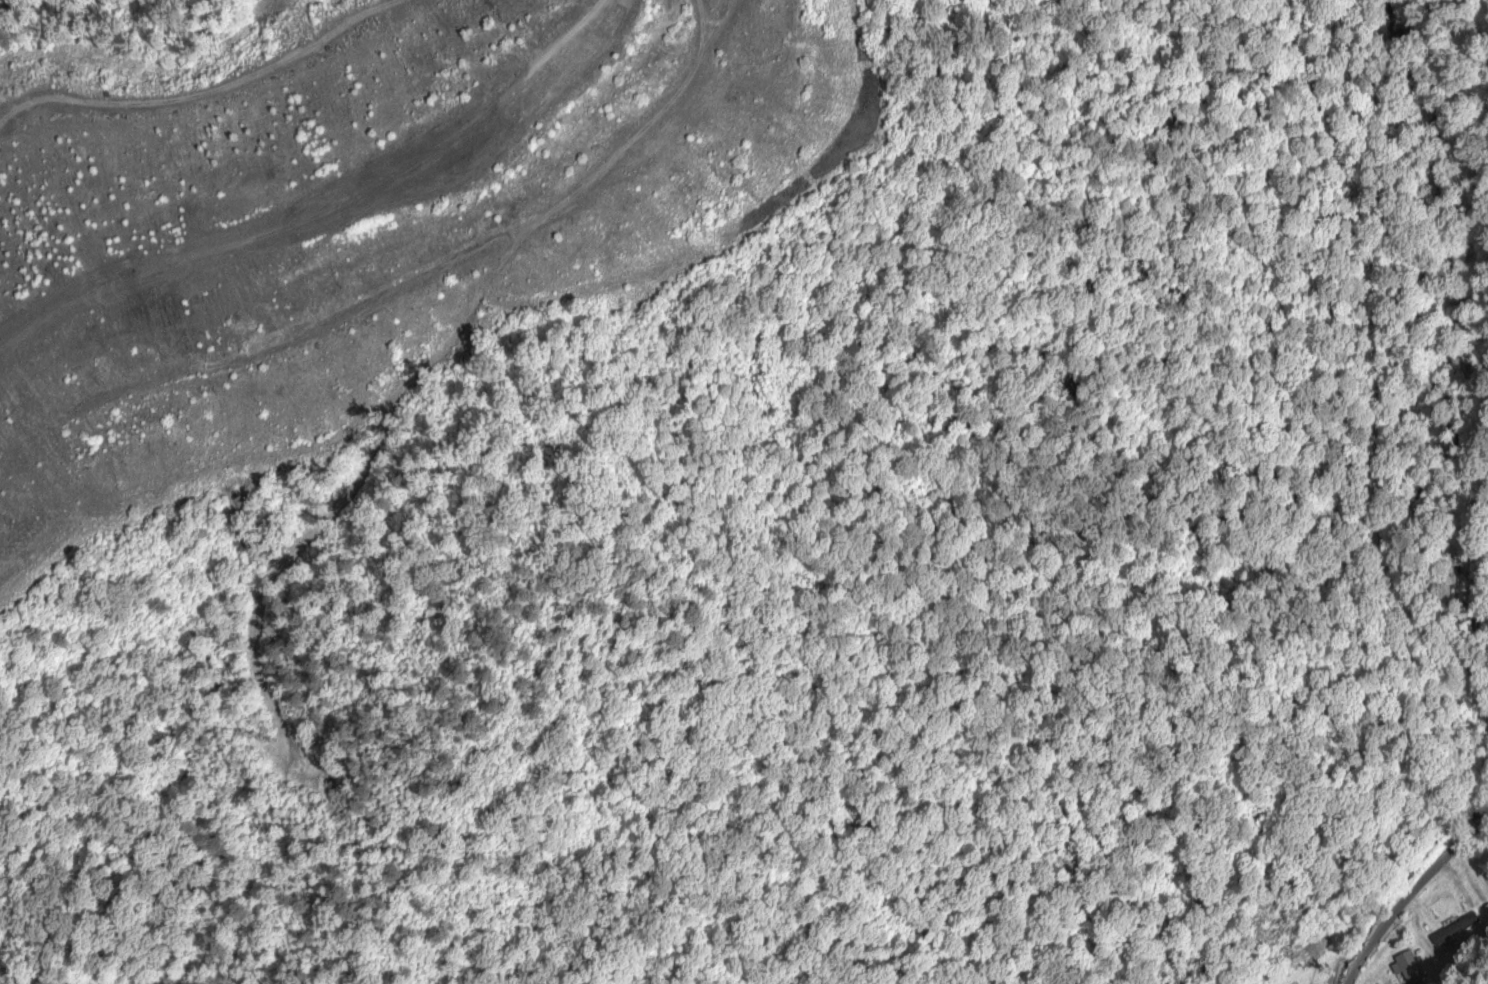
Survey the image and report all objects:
road: (1418, 910)
building: (1454, 928)
building: (1407, 965)

